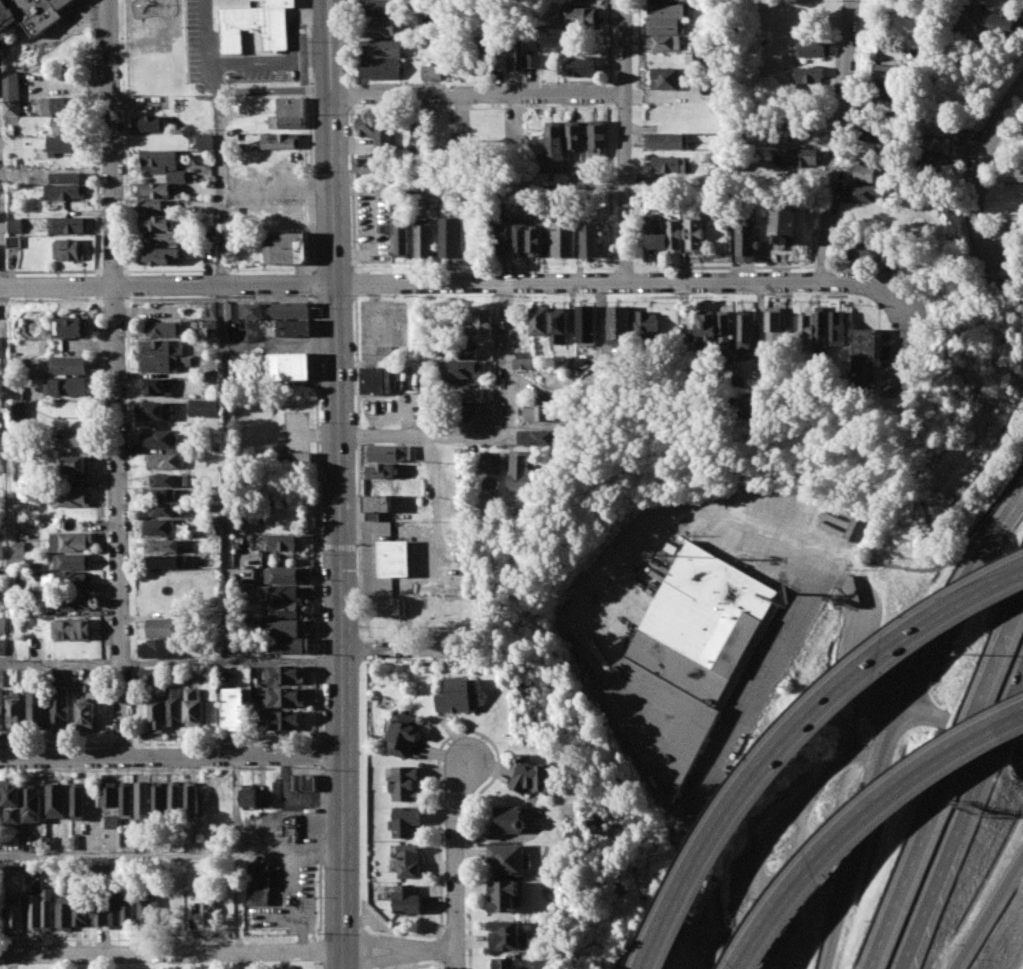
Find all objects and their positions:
building: (659, 0)
building: (63, 3)
building: (380, 7)
building: (667, 10)
road: (965, 13)
building: (38, 14)
building: (7, 16)
building: (582, 17)
building: (1001, 21)
building: (264, 22)
building: (665, 26)
building: (382, 27)
building: (663, 43)
building: (382, 48)
park: (168, 49)
building: (811, 49)
building: (481, 52)
building: (520, 56)
building: (692, 59)
building: (577, 66)
building: (382, 69)
building: (430, 73)
building: (805, 75)
building: (887, 76)
building: (666, 79)
building: (928, 82)
building: (281, 87)
road: (478, 93)
building: (883, 94)
building: (13, 95)
building: (63, 105)
building: (287, 114)
building: (150, 123)
building: (65, 125)
building: (599, 134)
building: (377, 135)
building: (574, 135)
building: (870, 135)
road: (310, 137)
building: (963, 137)
building: (556, 140)
road: (623, 140)
building: (203, 141)
road: (219, 141)
building: (281, 141)
building: (667, 141)
road: (835, 141)
road: (112, 142)
building: (419, 142)
building: (64, 143)
building: (933, 143)
building: (794, 157)
building: (158, 160)
building: (933, 163)
building: (670, 164)
building: (367, 166)
road: (980, 167)
building: (865, 172)
building: (1010, 175)
building: (175, 176)
building: (155, 189)
building: (63, 191)
building: (867, 193)
building: (150, 204)
building: (732, 210)
building: (784, 220)
building: (155, 222)
building: (15, 225)
building: (68, 225)
road: (2, 227)
building: (657, 232)
building: (499, 233)
building: (697, 233)
building: (678, 235)
building: (403, 236)
building: (451, 236)
building: (563, 236)
building: (425, 237)
building: (522, 237)
building: (159, 239)
building: (592, 240)
building: (746, 240)
building: (14, 241)
building: (537, 241)
building: (286, 248)
building: (68, 249)
building: (864, 250)
building: (160, 255)
building: (898, 272)
road: (514, 280)
road: (308, 283)
road: (57, 285)
building: (275, 310)
building: (232, 311)
building: (541, 321)
building: (622, 322)
building: (482, 323)
building: (587, 324)
building: (773, 324)
building: (706, 325)
building: (649, 326)
building: (822, 326)
building: (72, 327)
building: (562, 327)
building: (744, 327)
building: (806, 327)
building: (164, 328)
building: (290, 328)
building: (724, 328)
building: (838, 328)
building: (461, 351)
building: (160, 355)
road: (511, 356)
building: (526, 356)
building: (865, 361)
building: (69, 365)
building: (293, 367)
building: (462, 369)
building: (379, 380)
building: (66, 386)
building: (158, 386)
building: (201, 407)
building: (155, 410)
building: (466, 412)
building: (537, 412)
road: (423, 435)
building: (540, 437)
building: (73, 438)
building: (159, 439)
building: (0, 448)
building: (412, 452)
building: (387, 453)
building: (294, 457)
building: (166, 460)
building: (74, 463)
building: (489, 470)
building: (383, 471)
building: (520, 471)
road: (223, 472)
road: (339, 474)
road: (6, 475)
building: (170, 480)
building: (163, 494)
building: (73, 498)
road: (1018, 500)
road: (1018, 504)
building: (377, 506)
building: (162, 509)
road: (315, 519)
road: (118, 520)
building: (161, 527)
building: (72, 541)
building: (282, 541)
road: (766, 543)
building: (163, 545)
building: (394, 557)
building: (73, 560)
building: (167, 561)
building: (282, 575)
road: (831, 577)
building: (73, 579)
building: (280, 592)
building: (1, 594)
building: (73, 603)
road: (951, 603)
building: (387, 607)
building: (283, 609)
building: (2, 625)
building: (72, 628)
building: (287, 628)
building: (160, 637)
building: (1, 645)
building: (287, 645)
road: (399, 647)
road: (172, 661)
building: (686, 661)
road: (774, 663)
road: (855, 673)
building: (284, 674)
building: (150, 677)
building: (458, 695)
building: (1, 697)
building: (285, 697)
building: (194, 705)
building: (174, 706)
building: (233, 706)
building: (60, 707)
building: (35, 708)
building: (13, 709)
building: (85, 715)
building: (156, 715)
building: (283, 721)
road: (796, 733)
building: (403, 734)
road: (1019, 750)
road: (172, 755)
road: (314, 755)
building: (535, 776)
road: (947, 781)
building: (303, 782)
building: (405, 782)
building: (108, 794)
building: (248, 794)
building: (175, 797)
building: (125, 798)
building: (191, 799)
building: (54, 800)
building: (142, 800)
building: (10, 801)
building: (158, 801)
building: (77, 803)
building: (30, 805)
building: (406, 819)
building: (508, 819)
road: (862, 822)
road: (964, 825)
building: (291, 828)
road: (864, 835)
road: (470, 838)
road: (439, 839)
road: (320, 852)
road: (171, 853)
building: (507, 858)
building: (408, 860)
road: (456, 862)
building: (260, 883)
building: (503, 895)
building: (408, 899)
building: (146, 905)
road: (439, 906)
building: (37, 910)
building: (208, 910)
road: (987, 911)
building: (70, 912)
building: (96, 912)
building: (120, 912)
building: (10, 916)
road: (407, 916)
road: (382, 918)
road: (456, 925)
road: (369, 930)
building: (508, 934)
road: (366, 949)
road: (318, 950)
road: (232, 951)
road: (440, 951)
road: (342, 959)
road: (345, 959)
building: (507, 963)
road: (318, 964)
park: (172, 965)
road: (412, 965)
road: (394, 968)
road: (439, 968)

